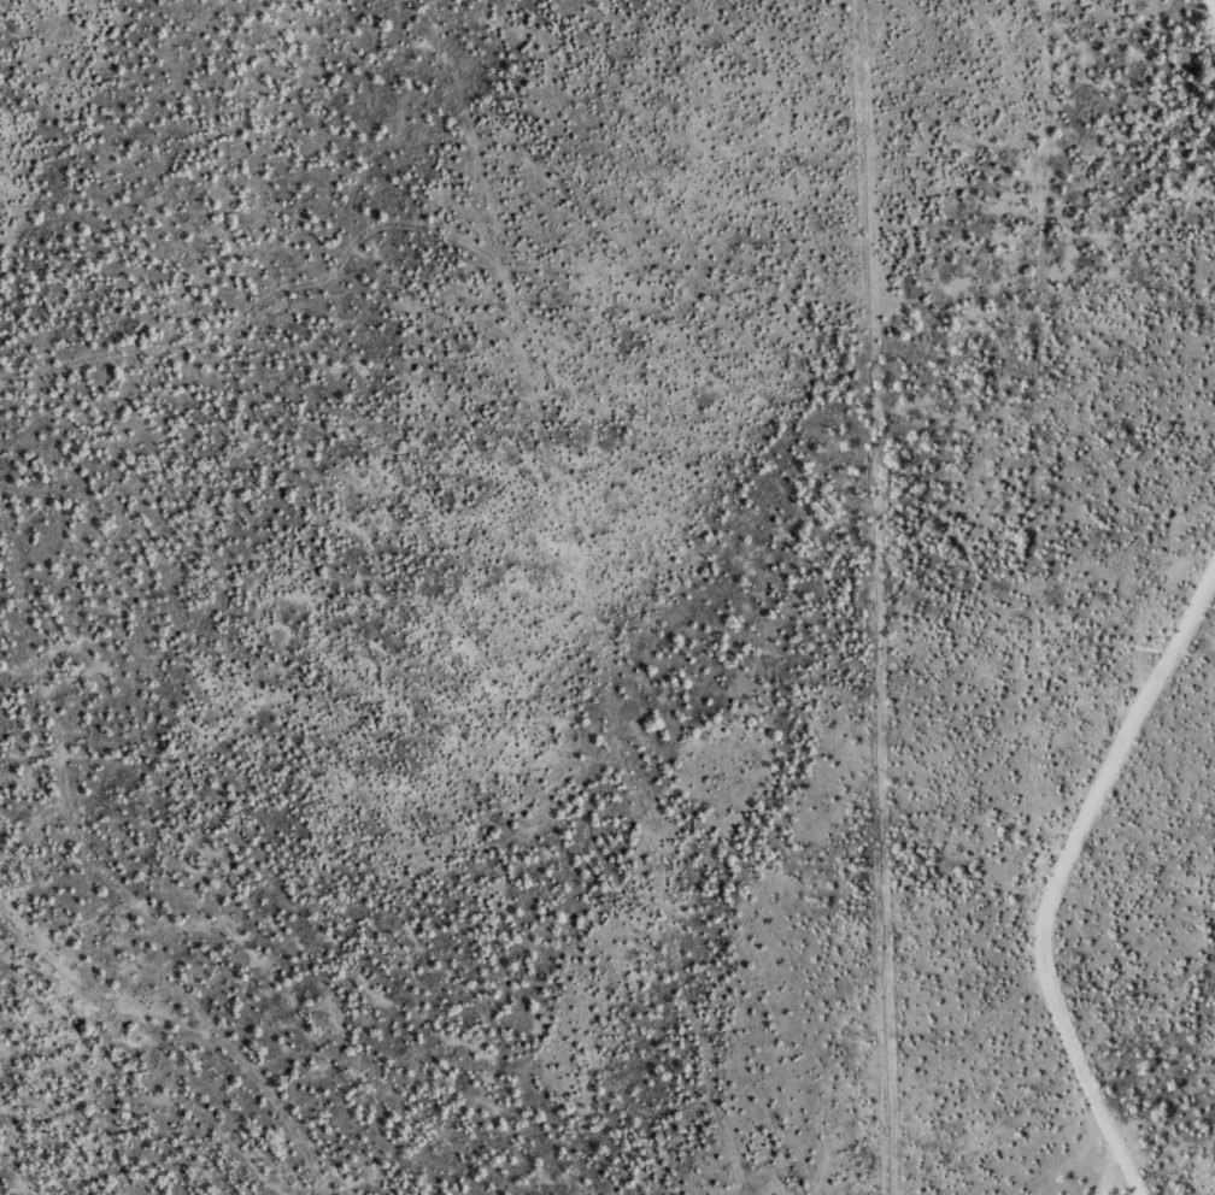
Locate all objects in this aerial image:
road: (1208, 14)
road: (1067, 890)

